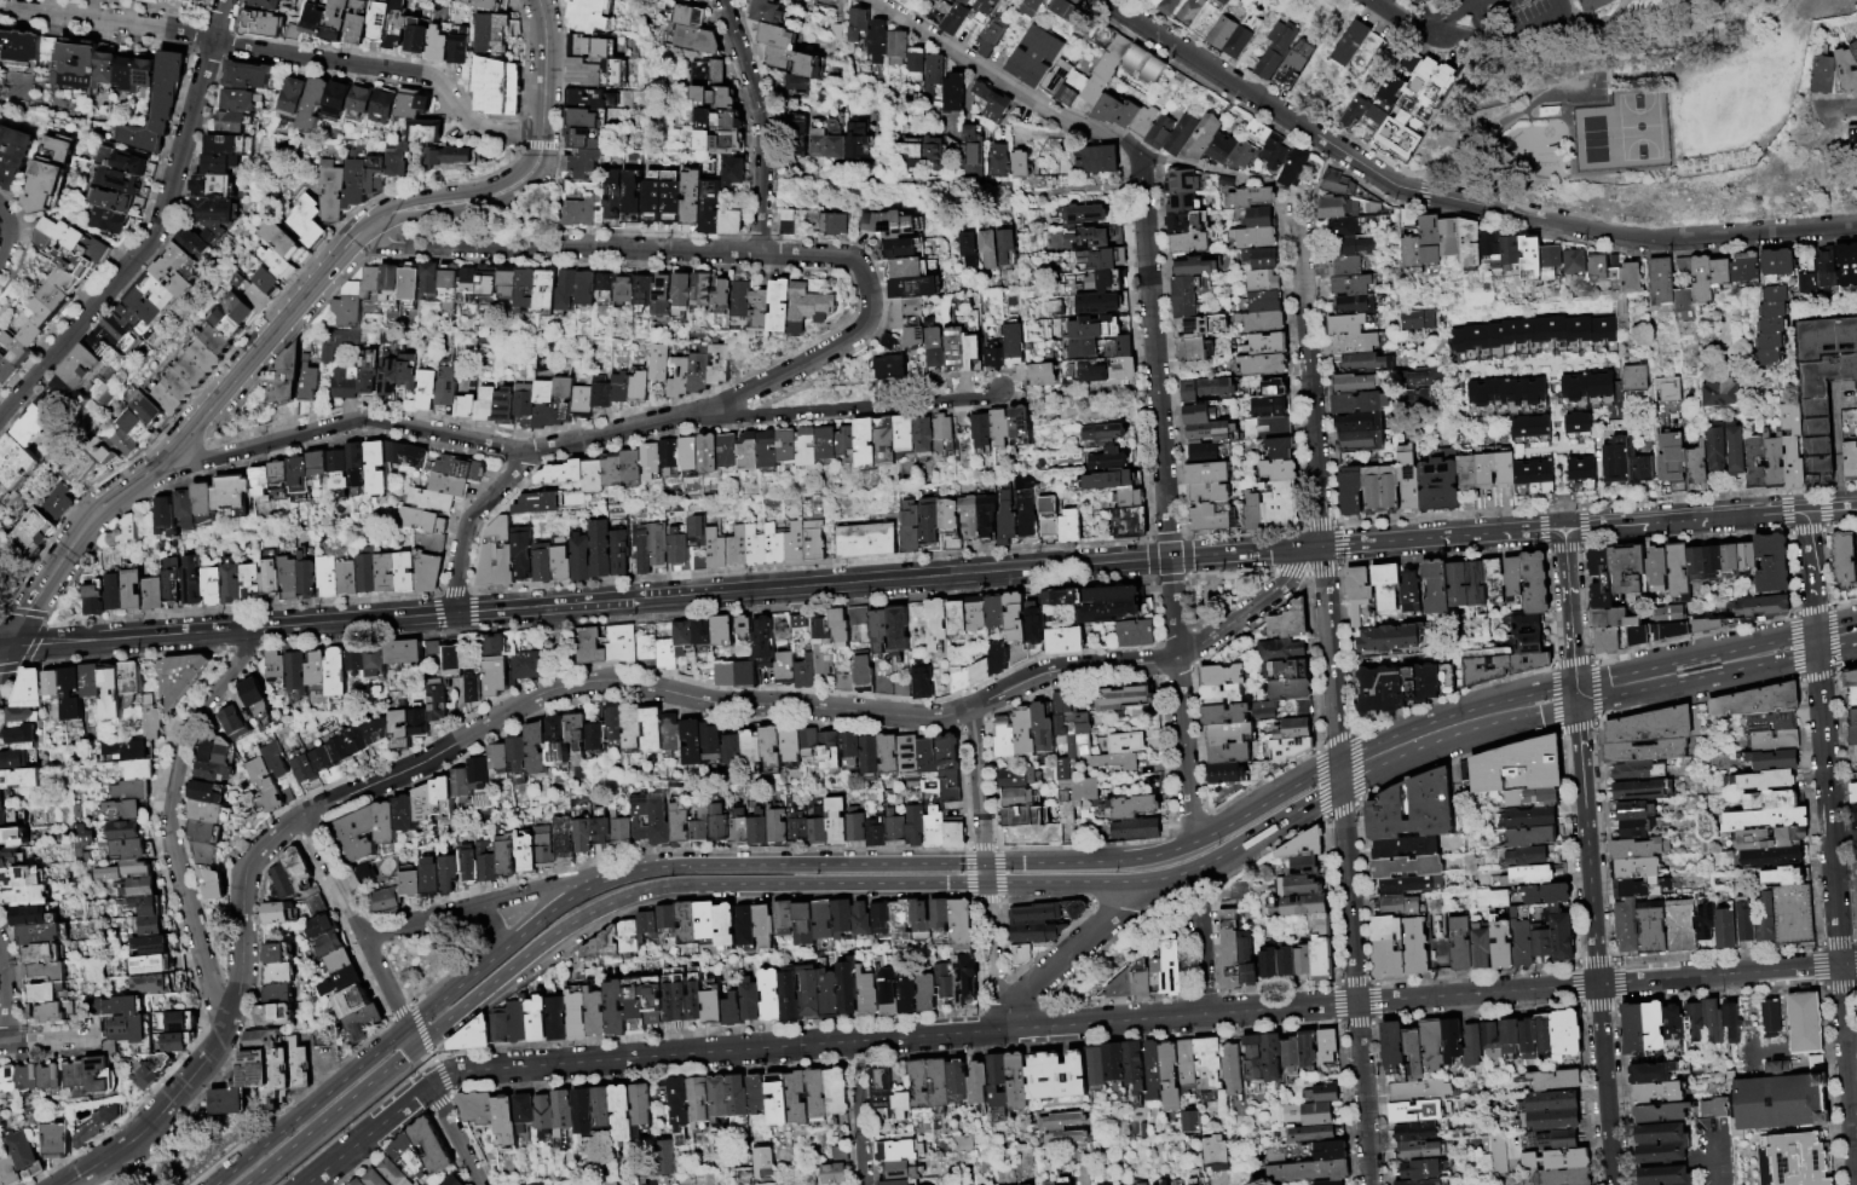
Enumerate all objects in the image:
building: (180, 0)
building: (190, 0)
building: (202, 0)
building: (688, 0)
building: (767, 0)
building: (1140, 0)
road: (1391, 0)
building: (160, 1)
building: (1223, 1)
building: (269, 4)
building: (488, 4)
road: (1832, 4)
building: (1593, 5)
road: (156, 6)
building: (1169, 6)
building: (1060, 7)
building: (1031, 8)
building: (985, 10)
road: (1405, 10)
building: (938, 11)
parking lot: (1500, 11)
building: (767, 12)
building: (1189, 12)
road: (1453, 12)
building: (590, 13)
road: (1553, 15)
building: (1073, 16)
road: (1567, 16)
building: (955, 17)
building: (692, 18)
road: (1499, 18)
road: (1436, 19)
building: (315, 21)
building: (336, 21)
building: (358, 22)
building: (379, 22)
building: (858, 23)
road: (1408, 23)
building: (264, 24)
road: (1596, 24)
road: (1463, 25)
building: (397, 27)
building: (835, 33)
building: (991, 33)
building: (1222, 33)
road: (1498, 33)
building: (494, 35)
building: (417, 36)
building: (777, 36)
building: (1105, 36)
building: (0, 37)
building: (697, 40)
building: (877, 41)
building: (1238, 42)
building: (1354, 44)
building: (22, 45)
building: (438, 45)
building: (459, 46)
building: (50, 47)
building: (588, 47)
building: (896, 47)
building: (1276, 50)
building: (1853, 50)
road: (281, 54)
building: (1368, 54)
building: (1034, 56)
road: (191, 58)
building: (1113, 58)
building: (1136, 58)
building: (795, 62)
building: (77, 63)
building: (915, 64)
building: (1292, 64)
road: (544, 65)
building: (105, 69)
building: (1152, 69)
building: (1845, 70)
building: (596, 73)
building: (707, 73)
building: (125, 74)
road: (561, 74)
building: (1819, 74)
building: (144, 75)
building: (247, 75)
building: (933, 76)
building: (1056, 77)
road: (1645, 79)
road: (1199, 80)
building: (797, 83)
building: (496, 86)
building: (1395, 87)
building: (1072, 88)
building: (1094, 88)
road: (1017, 91)
building: (955, 92)
parking lot: (1598, 94)
road: (1832, 94)
building: (714, 98)
building: (290, 99)
building: (587, 99)
building: (241, 100)
building: (335, 100)
building: (358, 100)
road: (1466, 102)
road: (1813, 102)
building: (992, 103)
building: (312, 104)
building: (160, 105)
building: (382, 105)
building: (411, 105)
road: (1833, 108)
park: (1718, 109)
building: (1114, 111)
building: (1354, 114)
building: (1556, 114)
road: (745, 115)
park: (1639, 115)
road: (774, 116)
road: (1501, 117)
road: (1778, 117)
building: (586, 118)
road: (1852, 118)
building: (719, 121)
building: (1143, 121)
building: (236, 122)
road: (762, 122)
road: (1805, 127)
park: (1642, 128)
building: (427, 131)
building: (1258, 131)
building: (1160, 132)
building: (1181, 134)
building: (1397, 135)
building: (796, 137)
building: (834, 137)
building: (1203, 137)
building: (582, 139)
building: (817, 139)
building: (719, 141)
building: (854, 141)
park: (1596, 141)
road: (1573, 143)
building: (227, 144)
building: (1853, 145)
building: (1221, 149)
building: (973, 151)
building: (911, 152)
building: (17, 154)
building: (932, 154)
building: (1242, 154)
building: (1274, 154)
building: (452, 156)
building: (396, 158)
building: (1097, 160)
building: (123, 161)
building: (998, 161)
building: (220, 164)
building: (581, 164)
building: (1021, 166)
road: (1195, 166)
road: (1662, 167)
building: (1294, 168)
building: (54, 173)
building: (732, 173)
building: (374, 175)
building: (123, 181)
building: (1182, 183)
building: (1227, 183)
building: (1340, 184)
building: (353, 185)
building: (214, 186)
road: (1285, 187)
building: (330, 191)
road: (1304, 191)
building: (613, 197)
building: (632, 197)
building: (690, 197)
building: (1252, 197)
road: (17, 198)
building: (652, 198)
building: (671, 198)
building: (115, 200)
road: (474, 201)
road: (1453, 201)
building: (1183, 203)
building: (709, 207)
building: (1337, 207)
building: (209, 209)
building: (582, 213)
building: (1092, 215)
building: (1256, 216)
building: (109, 218)
road: (33, 219)
building: (1406, 219)
building: (306, 221)
building: (786, 221)
building: (731, 222)
building: (832, 222)
building: (1189, 222)
building: (892, 224)
building: (1343, 227)
building: (213, 231)
park: (1, 232)
road: (156, 232)
road: (16, 237)
building: (1086, 237)
building: (1256, 237)
building: (1452, 238)
building: (47, 239)
building: (79, 239)
building: (1432, 239)
building: (192, 241)
building: (283, 242)
building: (1192, 242)
building: (1354, 245)
building: (1471, 245)
building: (1492, 245)
building: (1007, 247)
building: (904, 248)
building: (969, 249)
building: (988, 249)
road: (733, 250)
road: (126, 253)
building: (1414, 254)
building: (1512, 256)
building: (1261, 258)
building: (1532, 258)
building: (1102, 259)
building: (184, 260)
road: (27, 262)
building: (77, 262)
building: (276, 262)
building: (1575, 264)
building: (1777, 264)
building: (1345, 265)
building: (1552, 265)
building: (1199, 266)
road: (10, 267)
building: (910, 267)
building: (1846, 267)
building: (1684, 268)
building: (1744, 268)
building: (1607, 270)
building: (1827, 271)
building: (1722, 273)
building: (174, 277)
building: (1632, 279)
building: (67, 281)
building: (429, 281)
building: (1105, 281)
building: (1702, 281)
building: (266, 282)
building: (1263, 282)
building: (1662, 282)
building: (371, 283)
building: (1809, 283)
building: (489, 284)
building: (508, 284)
building: (1351, 284)
building: (913, 287)
building: (391, 288)
building: (449, 288)
building: (605, 288)
road: (1149, 288)
building: (624, 289)
building: (158, 290)
building: (469, 290)
building: (527, 290)
building: (586, 290)
building: (704, 290)
building: (410, 291)
building: (547, 291)
building: (566, 293)
building: (645, 295)
building: (684, 295)
building: (722, 295)
building: (1777, 295)
building: (1187, 296)
building: (54, 297)
building: (256, 297)
building: (663, 299)
building: (743, 300)
building: (1265, 301)
building: (1102, 304)
building: (146, 305)
building: (350, 305)
building: (1355, 305)
building: (1685, 305)
building: (238, 307)
building: (1055, 307)
building: (809, 308)
building: (782, 310)
building: (1621, 310)
building: (1775, 311)
building: (42, 314)
building: (898, 314)
building: (976, 317)
building: (761, 318)
building: (133, 319)
building: (1417, 319)
road: (60, 320)
building: (915, 320)
building: (226, 322)
building: (1261, 322)
building: (1349, 324)
building: (1096, 326)
building: (1774, 326)
building: (1200, 328)
building: (1037, 329)
building: (30, 334)
building: (1541, 335)
building: (1561, 335)
building: (1587, 335)
building: (1574, 336)
building: (1601, 336)
building: (1613, 336)
building: (1522, 337)
building: (1509, 339)
building: (215, 340)
building: (347, 340)
building: (113, 341)
building: (889, 342)
building: (1484, 342)
building: (1498, 342)
building: (1771, 342)
building: (1014, 343)
building: (1267, 343)
building: (1355, 343)
building: (1028, 346)
building: (1465, 346)
building: (935, 347)
building: (1101, 347)
building: (956, 348)
building: (17, 349)
building: (1196, 349)
building: (327, 351)
building: (974, 353)
building: (203, 354)
building: (997, 358)
building: (1770, 358)
building: (1365, 362)
building: (661, 363)
building: (1263, 364)
building: (720, 365)
building: (82, 366)
building: (892, 366)
building: (7, 368)
building: (191, 369)
building: (1123, 369)
road: (1309, 369)
road: (1538, 369)
building: (700, 370)
building: (1091, 371)
road: (227, 372)
building: (367, 372)
building: (1046, 374)
building: (406, 375)
building: (387, 376)
building: (680, 377)
building: (1423, 377)
building: (287, 378)
building: (1636, 380)
building: (308, 382)
building: (1356, 382)
building: (178, 383)
building: (344, 383)
building: (1, 385)
building: (446, 385)
building: (1822, 386)
road: (242, 387)
building: (1601, 387)
building: (1667, 387)
building: (1207, 388)
building: (1274, 388)
building: (621, 389)
building: (640, 389)
building: (426, 391)
building: (1575, 391)
building: (1720, 392)
building: (70, 393)
building: (1535, 394)
building: (601, 395)
building: (1501, 395)
building: (1516, 395)
building: (1482, 397)
building: (1420, 398)
building: (166, 399)
building: (46, 401)
building: (561, 401)
building: (581, 403)
building: (1360, 403)
building: (465, 404)
building: (503, 405)
building: (542, 405)
building: (1269, 407)
building: (146, 409)
building: (484, 410)
building: (524, 410)
building: (1201, 414)
road: (1538, 416)
building: (1360, 422)
building: (1019, 423)
building: (31, 424)
building: (135, 426)
building: (1578, 427)
building: (999, 428)
building: (1268, 428)
building: (1530, 432)
building: (1212, 433)
building: (982, 434)
building: (1103, 434)
building: (904, 438)
building: (944, 438)
building: (924, 439)
building: (1362, 440)
road: (587, 441)
building: (125, 443)
building: (884, 444)
building: (826, 445)
building: (865, 445)
building: (847, 446)
building: (1792, 446)
building: (788, 447)
building: (807, 447)
building: (1281, 449)
road: (1556, 449)
building: (1735, 450)
building: (1714, 451)
building: (21, 452)
building: (749, 452)
building: (768, 452)
building: (1210, 452)
building: (729, 453)
building: (405, 455)
building: (690, 455)
building: (710, 455)
building: (669, 457)
building: (1109, 461)
building: (1772, 461)
building: (650, 462)
building: (1849, 462)
building: (1667, 463)
building: (80, 464)
building: (1697, 464)
building: (1753, 464)
building: (1615, 466)
building: (356, 467)
building: (457, 467)
building: (632, 467)
building: (1639, 467)
building: (317, 468)
building: (376, 469)
building: (1504, 469)
building: (12, 470)
building: (1280, 470)
building: (1465, 470)
building: (1483, 470)
building: (612, 472)
building: (338, 473)
building: (1210, 473)
building: (563, 474)
building: (1581, 474)
building: (594, 475)
building: (278, 479)
building: (299, 479)
building: (1534, 479)
building: (1408, 480)
building: (1113, 481)
building: (260, 482)
building: (446, 485)
building: (1437, 486)
building: (5, 490)
building: (1380, 490)
building: (1209, 492)
building: (1350, 492)
building: (233, 497)
building: (428, 498)
building: (1130, 498)
building: (58, 501)
building: (537, 503)
building: (1280, 503)
building: (204, 504)
building: (0, 507)
road: (1832, 507)
building: (185, 509)
building: (1255, 511)
building: (166, 516)
building: (1215, 516)
road: (1685, 518)
road: (469, 519)
building: (987, 519)
building: (421, 520)
building: (969, 521)
building: (1049, 521)
building: (1027, 522)
building: (1009, 524)
building: (1130, 524)
building: (929, 526)
building: (950, 526)
building: (1069, 527)
building: (911, 530)
building: (33, 531)
building: (125, 532)
road: (1499, 532)
building: (425, 542)
building: (866, 542)
road: (1366, 542)
building: (1855, 542)
building: (697, 544)
building: (795, 544)
building: (814, 544)
building: (658, 545)
building: (774, 545)
building: (640, 547)
building: (755, 548)
building: (677, 549)
building: (737, 549)
building: (600, 550)
building: (716, 550)
building: (501, 551)
building: (618, 553)
building: (521, 557)
building: (1743, 559)
building: (579, 560)
building: (1709, 560)
building: (1728, 560)
building: (560, 561)
building: (1841, 562)
building: (485, 563)
building: (1692, 563)
building: (1770, 563)
building: (1856, 563)
building: (542, 567)
building: (1656, 568)
building: (1676, 568)
building: (1627, 570)
road: (1810, 570)
building: (365, 571)
building: (404, 572)
building: (426, 572)
building: (385, 574)
building: (327, 576)
building: (306, 577)
building: (346, 578)
building: (267, 579)
building: (287, 579)
building: (1493, 579)
building: (1605, 579)
building: (1512, 580)
road: (48, 582)
building: (169, 582)
building: (190, 582)
building: (229, 583)
building: (248, 583)
building: (1534, 583)
building: (1455, 585)
building: (211, 586)
building: (1475, 586)
building: (131, 588)
road: (775, 588)
building: (1385, 588)
building: (1435, 588)
building: (111, 592)
park: (1221, 592)
building: (1409, 592)
building: (151, 594)
building: (1062, 597)
building: (1359, 597)
building: (93, 599)
road: (1844, 602)
building: (1111, 603)
building: (1760, 605)
road: (1828, 605)
road: (1569, 606)
road: (1811, 608)
building: (996, 611)
road: (1793, 613)
building: (976, 614)
building: (1669, 614)
building: (859, 615)
road: (1173, 615)
building: (957, 618)
building: (1609, 618)
building: (1291, 620)
building: (798, 622)
building: (1715, 623)
building: (936, 624)
building: (1528, 625)
road: (1835, 626)
building: (840, 628)
building: (1034, 628)
building: (743, 629)
building: (1016, 629)
building: (880, 630)
building: (722, 631)
building: (899, 631)
building: (1671, 631)
traffic signals: (1815, 632)
building: (704, 634)
building: (1135, 634)
building: (1637, 634)
road: (133, 635)
building: (762, 637)
road: (1833, 637)
building: (684, 638)
building: (1389, 638)
building: (1607, 640)
building: (1065, 641)
road: (1815, 642)
building: (1526, 643)
building: (492, 644)
building: (622, 644)
road: (6, 646)
building: (589, 646)
road: (1794, 646)
road: (1836, 646)
building: (433, 647)
building: (820, 647)
building: (645, 648)
building: (1281, 651)
traffic signals: (1816, 652)
building: (403, 653)
building: (665, 654)
building: (998, 658)
road: (1695, 658)
road: (1593, 659)
building: (373, 661)
building: (451, 661)
road: (1571, 661)
building: (353, 663)
road: (6, 664)
building: (524, 666)
road: (1331, 666)
building: (1501, 666)
building: (275, 667)
building: (784, 669)
road: (1846, 669)
building: (1286, 670)
road: (1835, 671)
building: (296, 672)
building: (316, 672)
building: (804, 672)
building: (980, 672)
building: (335, 674)
building: (744, 674)
building: (725, 675)
building: (1223, 675)
building: (494, 676)
building: (864, 676)
road: (1816, 676)
building: (1850, 676)
road: (1696, 677)
building: (181, 678)
building: (961, 678)
road: (1799, 678)
building: (90, 681)
building: (844, 682)
building: (922, 682)
building: (128, 683)
road: (583, 684)
building: (883, 686)
traffic signals: (1576, 686)
building: (52, 687)
building: (471, 687)
building: (901, 687)
building: (1401, 687)
building: (28, 688)
building: (1290, 689)
road: (1596, 689)
building: (111, 693)
building: (71, 694)
building: (1221, 694)
road: (1576, 695)
building: (1853, 695)
building: (252, 696)
building: (434, 698)
road: (1555, 698)
building: (1125, 699)
building: (1759, 701)
building: (1063, 704)
traffic signals: (1578, 705)
building: (1303, 706)
building: (1225, 713)
road: (1453, 713)
building: (22, 716)
building: (1853, 716)
road: (1597, 718)
building: (150, 722)
building: (237, 722)
building: (613, 722)
road: (1594, 722)
building: (1772, 722)
building: (416, 724)
building: (632, 724)
building: (1043, 724)
building: (1071, 726)
road: (1574, 726)
building: (1657, 726)
building: (652, 729)
building: (1293, 729)
building: (374, 730)
building: (397, 730)
building: (1022, 730)
building: (576, 733)
building: (1232, 733)
building: (1853, 733)
building: (673, 734)
building: (1003, 736)
building: (19, 738)
road: (1455, 738)
building: (354, 739)
building: (594, 739)
building: (556, 740)
building: (1775, 740)
building: (711, 741)
building: (693, 742)
building: (809, 742)
building: (1125, 742)
building: (791, 744)
building: (771, 746)
building: (338, 747)
building: (536, 747)
building: (850, 747)
building: (1292, 747)
building: (123, 750)
building: (732, 750)
building: (751, 750)
building: (217, 751)
building: (830, 751)
building: (1646, 751)
building: (1229, 753)
building: (1855, 753)
building: (869, 755)
building: (909, 755)
building: (888, 756)
building: (927, 756)
building: (273, 758)
road: (1451, 758)
building: (18, 759)
building: (517, 759)
building: (1774, 759)
building: (497, 762)
building: (1112, 762)
traffic signals: (1338, 763)
building: (323, 764)
building: (1513, 765)
building: (948, 768)
building: (1267, 768)
building: (137, 769)
building: (304, 769)
building: (212, 770)
building: (1638, 770)
building: (478, 773)
building: (1227, 773)
building: (1855, 775)
building: (21, 778)
building: (1015, 778)
building: (1767, 779)
building: (461, 782)
building: (264, 786)
road: (979, 786)
traffic signals: (1340, 787)
building: (131, 790)
building: (1078, 790)
building: (1639, 790)
building: (1853, 790)
building: (207, 792)
building: (287, 796)
building: (1536, 796)
building: (444, 798)
building: (1019, 798)
building: (2, 799)
building: (1771, 800)
building: (423, 804)
building: (1132, 807)
building: (1414, 807)
road: (1845, 807)
building: (74, 810)
building: (121, 810)
building: (1636, 810)
building: (1856, 810)
building: (1068, 811)
road: (1340, 811)
building: (208, 813)
building: (404, 814)
road: (173, 815)
building: (1016, 817)
building: (1527, 817)
building: (13, 819)
road: (1323, 819)
building: (1766, 819)
building: (639, 820)
building: (658, 820)
building: (836, 821)
building: (386, 822)
building: (717, 823)
building: (916, 825)
building: (679, 826)
building: (699, 826)
building: (738, 826)
building: (797, 826)
building: (855, 826)
building: (775, 827)
building: (1636, 827)
building: (619, 828)
building: (895, 828)
building: (934, 828)
building: (1856, 828)
building: (121, 829)
building: (757, 829)
building: (1131, 829)
building: (876, 831)
building: (204, 832)
building: (818, 832)
building: (80, 833)
building: (601, 833)
building: (955, 833)
building: (354, 834)
building: (1026, 834)
building: (1529, 836)
building: (15, 837)
building: (582, 837)
building: (1771, 838)
building: (563, 839)
building: (1302, 844)
building: (1401, 845)
road: (1567, 846)
building: (125, 848)
building: (543, 848)
building: (1639, 849)
building: (1856, 849)
building: (80, 852)
building: (203, 852)
building: (525, 852)
building: (506, 855)
building: (1524, 855)
building: (1772, 857)
building: (12, 859)
building: (485, 862)
road: (1247, 862)
road: (734, 865)
building: (1407, 865)
building: (1302, 866)
building: (467, 867)
building: (1638, 868)
building: (125, 869)
building: (299, 872)
building: (363, 873)
building: (448, 873)
road: (985, 873)
building: (1526, 874)
building: (22, 877)
building: (428, 877)
building: (1784, 877)
building: (209, 881)
building: (282, 884)
building: (410, 884)
road: (754, 884)
building: (1411, 884)
building: (1301, 885)
road: (547, 886)
building: (140, 888)
road: (1363, 888)
building: (1640, 888)
building: (1544, 892)
building: (27, 896)
road: (1048, 897)
road: (999, 898)
road: (1330, 898)
building: (1489, 898)
building: (386, 901)
building: (316, 904)
road: (1117, 904)
building: (1302, 904)
building: (1400, 904)
building: (148, 906)
building: (1073, 908)
building: (276, 912)
building: (35, 914)
road: (1152, 914)
building: (1794, 914)
building: (783, 915)
building: (842, 918)
building: (880, 918)
road: (1204, 918)
road: (1836, 918)
building: (665, 919)
building: (860, 919)
building: (940, 919)
building: (1767, 919)
building: (704, 920)
building: (823, 920)
building: (901, 920)
building: (919, 920)
building: (1747, 920)
building: (1707, 921)
road: (415, 923)
building: (686, 923)
building: (1034, 923)
road: (492, 924)
building: (961, 924)
building: (149, 925)
building: (646, 925)
building: (744, 925)
building: (803, 925)
building: (319, 926)
building: (725, 926)
building: (763, 926)
building: (1627, 926)
building: (1682, 926)
building: (1653, 927)
building: (1726, 929)
road: (359, 931)
road: (1188, 932)
building: (45, 933)
building: (628, 936)
building: (1559, 936)
building: (610, 940)
building: (1518, 940)
road: (1855, 941)
road: (1835, 942)
building: (327, 943)
building: (1458, 943)
building: (1498, 943)
building: (1539, 943)
building: (150, 944)
building: (1478, 944)
road: (1594, 944)
road: (1213, 946)
building: (1389, 946)
building: (1417, 946)
building: (1320, 948)
building: (592, 949)
building: (1229, 949)
building: (46, 953)
building: (278, 953)
building: (1019, 953)
road: (1068, 954)
park: (432, 955)
road: (992, 956)
park: (1114, 958)
road: (1613, 958)
building: (336, 960)
building: (1246, 960)
road: (1594, 960)
road: (1627, 960)
road: (1112, 961)
road: (1180, 961)
building: (1285, 961)
building: (1302, 961)
building: (1268, 963)
road: (1573, 963)
road: (1616, 963)
building: (152, 965)
road: (1200, 966)
road: (1818, 966)
building: (1165, 967)
road: (1020, 969)
building: (47, 971)
road: (1471, 972)
building: (279, 975)
building: (942, 978)
building: (963, 978)
road: (1369, 978)
road: (1353, 979)
building: (340, 981)
road: (1334, 981)
road: (1617, 981)
building: (1131, 982)
building: (152, 983)
road: (1574, 983)
road: (1355, 985)
building: (844, 987)
road: (1819, 987)
road: (1839, 987)
building: (883, 988)
road: (1273, 988)
building: (923, 990)
building: (826, 992)
building: (864, 992)
road: (1201, 992)
building: (51, 993)
building: (679, 993)
building: (807, 993)
building: (693, 994)
building: (768, 994)
building: (278, 995)
building: (667, 995)
building: (904, 995)
road: (5, 996)
building: (786, 996)
building: (748, 998)
building: (651, 999)
road: (1042, 999)
building: (351, 1000)
road: (1376, 1000)
road: (1333, 1002)
road: (1575, 1002)
road: (1619, 1002)
road: (1568, 1004)
building: (710, 1005)
building: (120, 1006)
building: (612, 1006)
road: (1009, 1007)
road: (1598, 1007)
building: (633, 1008)
building: (729, 1008)
road: (1581, 1008)
building: (593, 1011)
building: (47, 1012)
building: (572, 1013)
building: (275, 1015)
building: (515, 1018)
building: (535, 1018)
building: (554, 1018)
building: (1770, 1019)
building: (178, 1021)
road: (1376, 1021)
building: (362, 1022)
building: (1713, 1022)
building: (1804, 1022)
building: (1732, 1023)
building: (496, 1024)
road: (1338, 1024)
road: (1357, 1024)
building: (1694, 1024)
road: (1063, 1025)
traffic signals: (408, 1028)
building: (1673, 1028)
building: (1643, 1029)
building: (125, 1031)
building: (469, 1034)
building: (1564, 1034)
building: (1542, 1035)
building: (1507, 1036)
building: (261, 1039)
building: (1489, 1039)
building: (1524, 1039)
building: (1449, 1040)
road: (52, 1042)
building: (177, 1042)
building: (1390, 1042)
building: (1430, 1042)
building: (1470, 1042)
road: (1037, 1045)
traffic signals: (416, 1046)
building: (1327, 1047)
building: (1308, 1050)
building: (1412, 1053)
building: (1291, 1054)
building: (1271, 1057)
building: (1253, 1060)
building: (1815, 1062)
building: (162, 1063)
building: (1186, 1063)
building: (1207, 1065)
building: (1095, 1068)
building: (1134, 1068)
building: (1232, 1069)
building: (273, 1071)
building: (1153, 1071)
building: (1113, 1073)
building: (1651, 1074)
building: (104, 1075)
building: (145, 1075)
building: (53, 1077)
building: (1056, 1077)
building: (10, 1079)
building: (29, 1079)
building: (1169, 1079)
building: (1552, 1079)
building: (79, 1080)
building: (997, 1082)
building: (1016, 1082)
building: (957, 1083)
building: (919, 1085)
building: (939, 1086)
building: (880, 1087)
building: (977, 1088)
building: (1418, 1091)
building: (817, 1092)
building: (836, 1093)
building: (1657, 1093)
building: (757, 1094)
building: (1321, 1094)
road: (1624, 1094)
building: (738, 1096)
building: (719, 1097)
building: (796, 1098)
building: (1775, 1098)
building: (1549, 1099)
building: (229, 1100)
building: (698, 1100)
building: (777, 1100)
building: (679, 1103)
building: (641, 1104)
road: (1380, 1104)
building: (900, 1105)
road: (1345, 1105)
building: (477, 1108)
building: (1713, 1108)
building: (581, 1110)
building: (601, 1110)
building: (1415, 1111)
building: (523, 1112)
building: (560, 1112)
building: (621, 1112)
road: (858, 1114)
building: (1661, 1114)
building: (1308, 1115)
building: (542, 1116)
building: (1550, 1117)
building: (1188, 1121)
building: (100, 1122)
building: (503, 1123)
building: (1060, 1128)
building: (1414, 1131)
road: (455, 1135)
building: (1310, 1135)
building: (1551, 1138)
building: (54, 1140)
building: (431, 1144)
building: (1661, 1144)
building: (896, 1150)
building: (1419, 1150)
building: (1326, 1151)
building: (1213, 1152)
building: (23, 1154)
building: (838, 1155)
building: (410, 1156)
building: (1553, 1158)
building: (1795, 1161)
building: (760, 1162)
building: (1424, 1168)
road: (1856, 1168)
building: (8, 1172)
building: (394, 1172)
building: (896, 1172)
building: (1309, 1172)
building: (831, 1174)
building: (742, 1177)
building: (1563, 1177)
building: (1665, 1177)
building: (375, 1179)
building: (703, 1179)
building: (452, 1180)
building: (358, 1181)
building: (1063, 1181)
building: (1420, 1181)
building: (645, 1183)
building: (895, 1183)
building: (1166, 1183)
building: (1332, 1183)
building: (419, 1184)
building: (549, 1184)
building: (601, 1184)
building: (1199, 1184)

